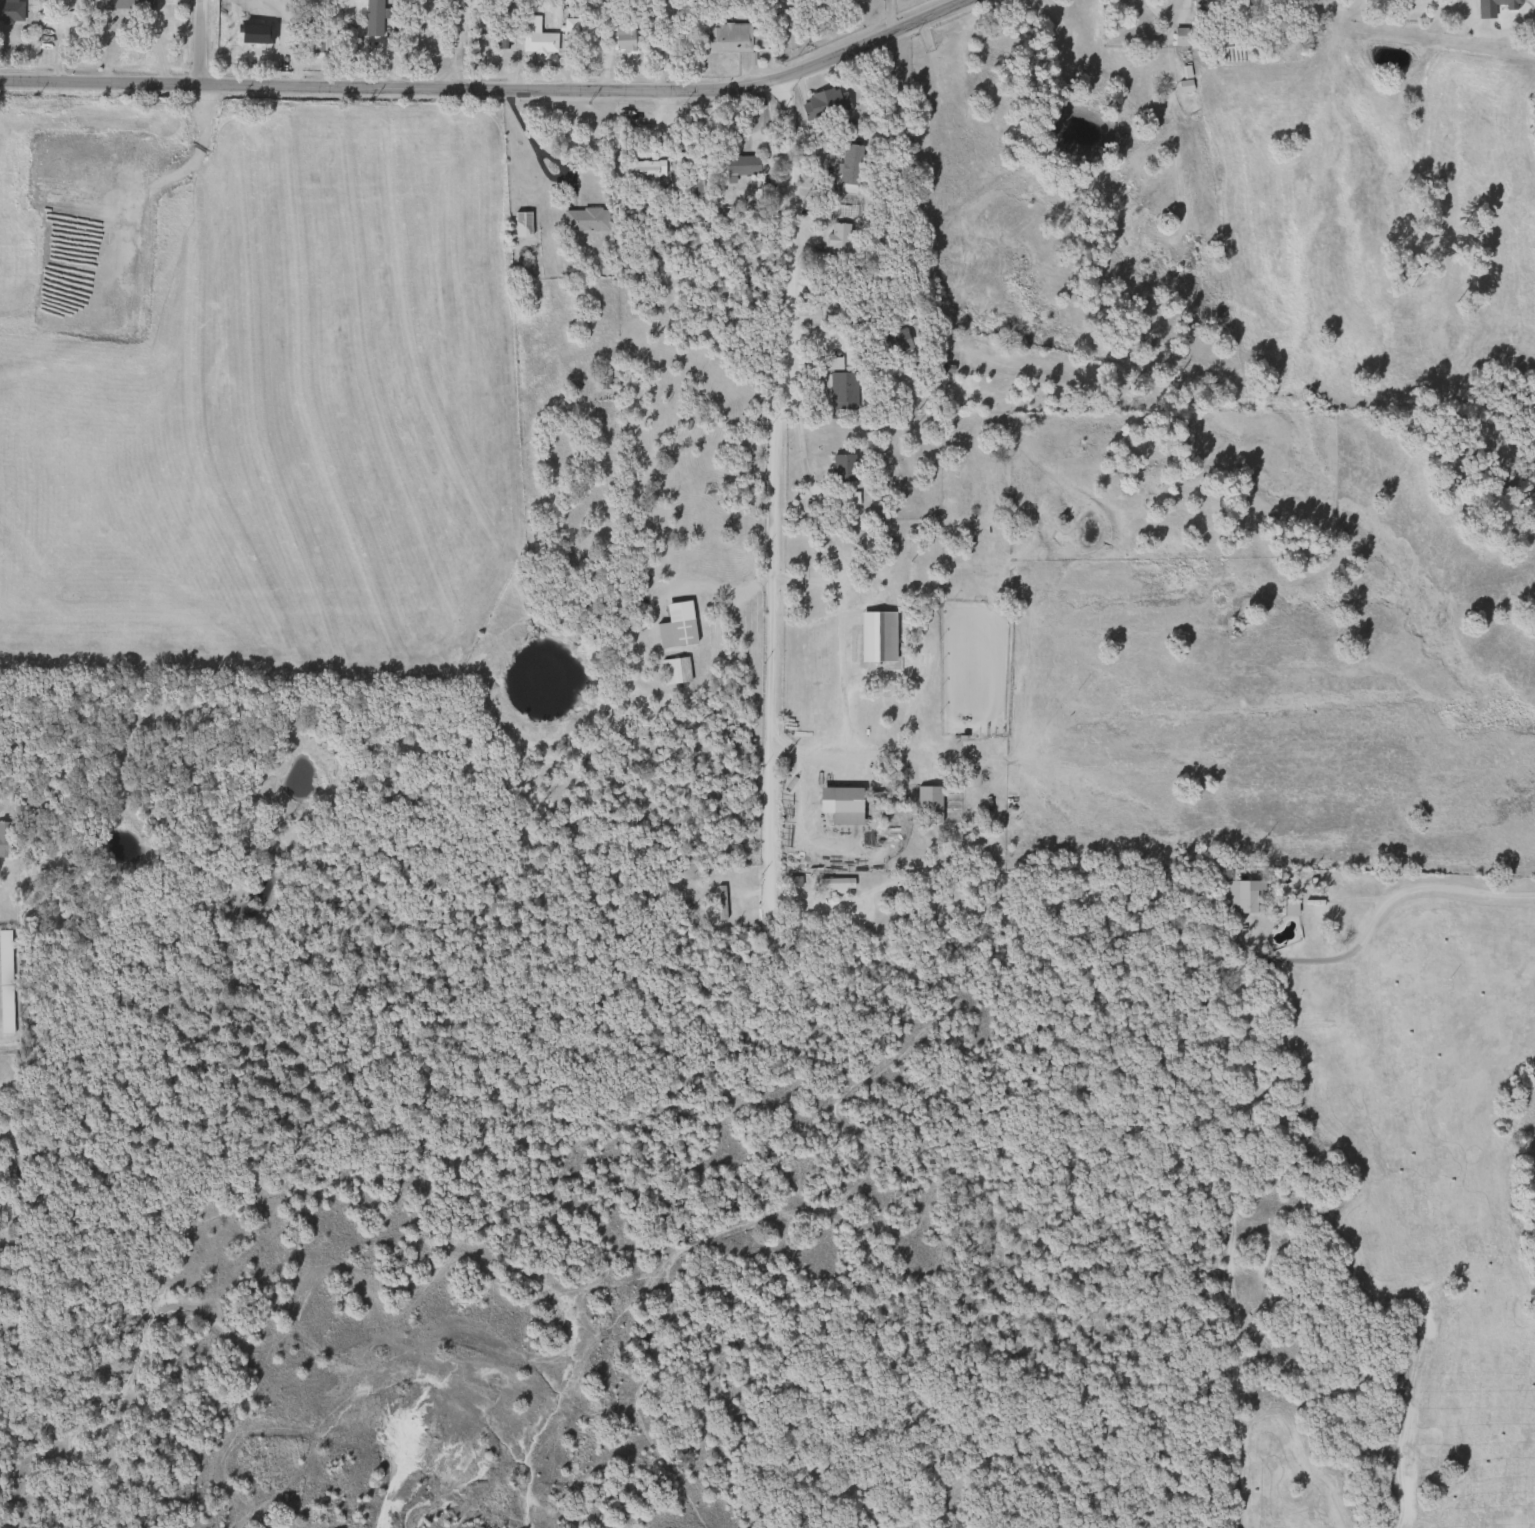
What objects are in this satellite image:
building: (125, 5)
building: (10, 11)
building: (370, 18)
building: (534, 36)
building: (725, 36)
building: (1178, 36)
building: (621, 38)
road: (58, 39)
building: (320, 41)
road: (199, 43)
road: (496, 92)
building: (821, 104)
road: (528, 144)
building: (740, 164)
building: (847, 167)
building: (639, 170)
building: (839, 211)
building: (583, 219)
building: (519, 223)
building: (836, 238)
building: (893, 341)
building: (829, 363)
building: (599, 379)
building: (840, 390)
road: (797, 431)
building: (841, 468)
road: (774, 514)
road: (824, 581)
building: (869, 599)
building: (674, 625)
building: (671, 670)
road: (849, 752)
building: (926, 804)
building: (844, 806)
road: (803, 818)
building: (4, 838)
building: (833, 883)
road: (1409, 888)
building: (4, 973)
building: (7, 1148)

